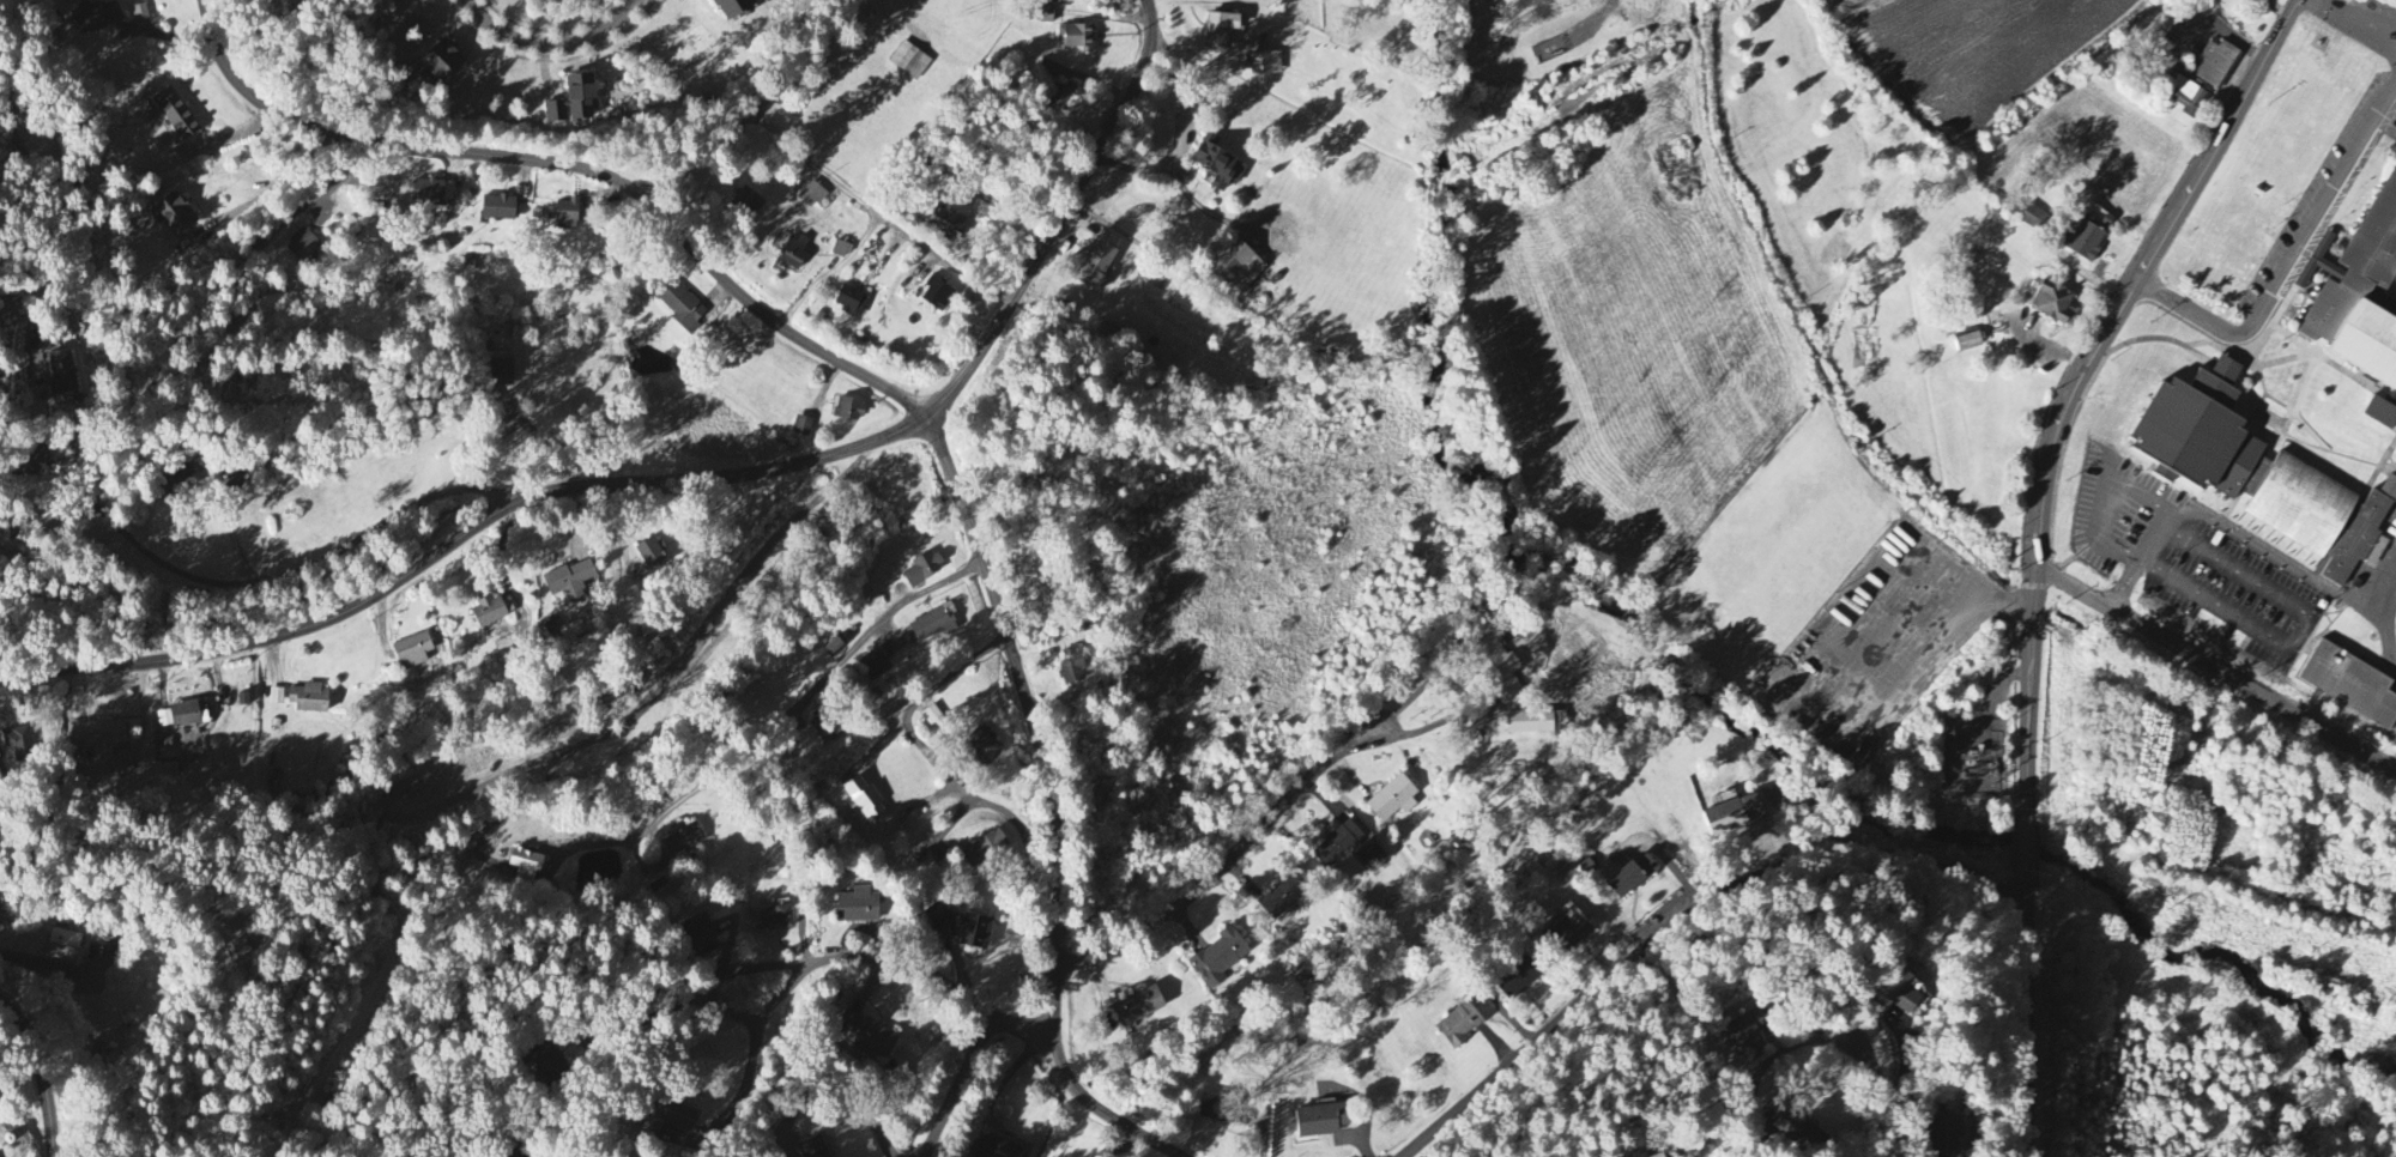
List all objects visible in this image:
building: (1070, 0)
building: (730, 7)
road: (2280, 10)
building: (140, 14)
building: (1045, 16)
building: (95, 17)
road: (2348, 19)
building: (1218, 30)
building: (1076, 38)
road: (551, 46)
building: (440, 62)
building: (909, 62)
building: (1265, 65)
building: (2215, 65)
building: (1049, 71)
building: (1064, 98)
building: (2186, 98)
building: (571, 102)
road: (750, 105)
building: (174, 115)
road: (1185, 138)
road: (2219, 140)
building: (2394, 152)
building: (1216, 165)
road: (574, 168)
road: (277, 188)
building: (432, 193)
building: (812, 198)
building: (742, 207)
building: (497, 208)
road: (1206, 211)
road: (1057, 212)
building: (174, 216)
building: (565, 217)
building: (2033, 218)
building: (945, 222)
building: (2088, 238)
building: (303, 248)
building: (840, 250)
building: (792, 256)
road: (949, 258)
building: (1097, 262)
road: (2289, 262)
building: (1236, 268)
building: (2359, 292)
building: (937, 296)
building: (849, 302)
building: (2053, 305)
building: (679, 307)
building: (501, 370)
building: (61, 375)
building: (847, 410)
building: (2382, 413)
building: (801, 428)
road: (28, 467)
building: (2259, 472)
building: (175, 477)
building: (231, 478)
road: (2039, 535)
road: (461, 538)
road: (2149, 545)
building: (649, 555)
building: (922, 569)
road: (276, 575)
building: (569, 582)
road: (2125, 586)
building: (490, 612)
track: (2392, 620)
building: (931, 625)
building: (570, 632)
road: (2304, 632)
building: (831, 649)
building: (411, 652)
building: (1071, 667)
building: (1497, 668)
building: (870, 670)
road: (2216, 670)
road: (821, 682)
building: (2350, 686)
road: (1462, 695)
building: (276, 697)
building: (308, 699)
building: (183, 715)
building: (1530, 723)
building: (98, 737)
building: (18, 745)
building: (981, 749)
building: (1980, 758)
building: (169, 771)
road: (1048, 774)
road: (954, 788)
building: (864, 800)
building: (1393, 801)
road: (1054, 808)
building: (1732, 816)
power tower: (1991, 829)
building: (684, 842)
building: (1337, 847)
building: (985, 849)
road: (2025, 849)
building: (1371, 855)
building: (525, 866)
road: (1226, 866)
building: (1586, 867)
building: (1627, 877)
building: (1282, 897)
building: (857, 908)
building: (937, 916)
road: (1683, 917)
building: (775, 919)
building: (975, 933)
building: (1568, 934)
building: (700, 935)
building: (62, 946)
building: (240, 949)
building: (1220, 958)
road: (28, 961)
road: (824, 965)
building: (1517, 980)
building: (1898, 991)
building: (1138, 1007)
road: (2027, 1022)
road: (639, 1023)
building: (1458, 1025)
building: (1749, 1031)
building: (867, 1037)
road: (1838, 1041)
building: (545, 1061)
road: (42, 1072)
road: (748, 1083)
road: (955, 1088)
road: (852, 1097)
road: (1699, 1104)
building: (1218, 1111)
building: (666, 1117)
building: (1320, 1121)
building: (1793, 1129)
road: (1628, 1135)
building: (1946, 1137)
road: (1121, 1144)
building: (812, 1149)
building: (998, 1150)
building: (512, 1155)
building: (1642, 1156)
building: (1658, 1156)

